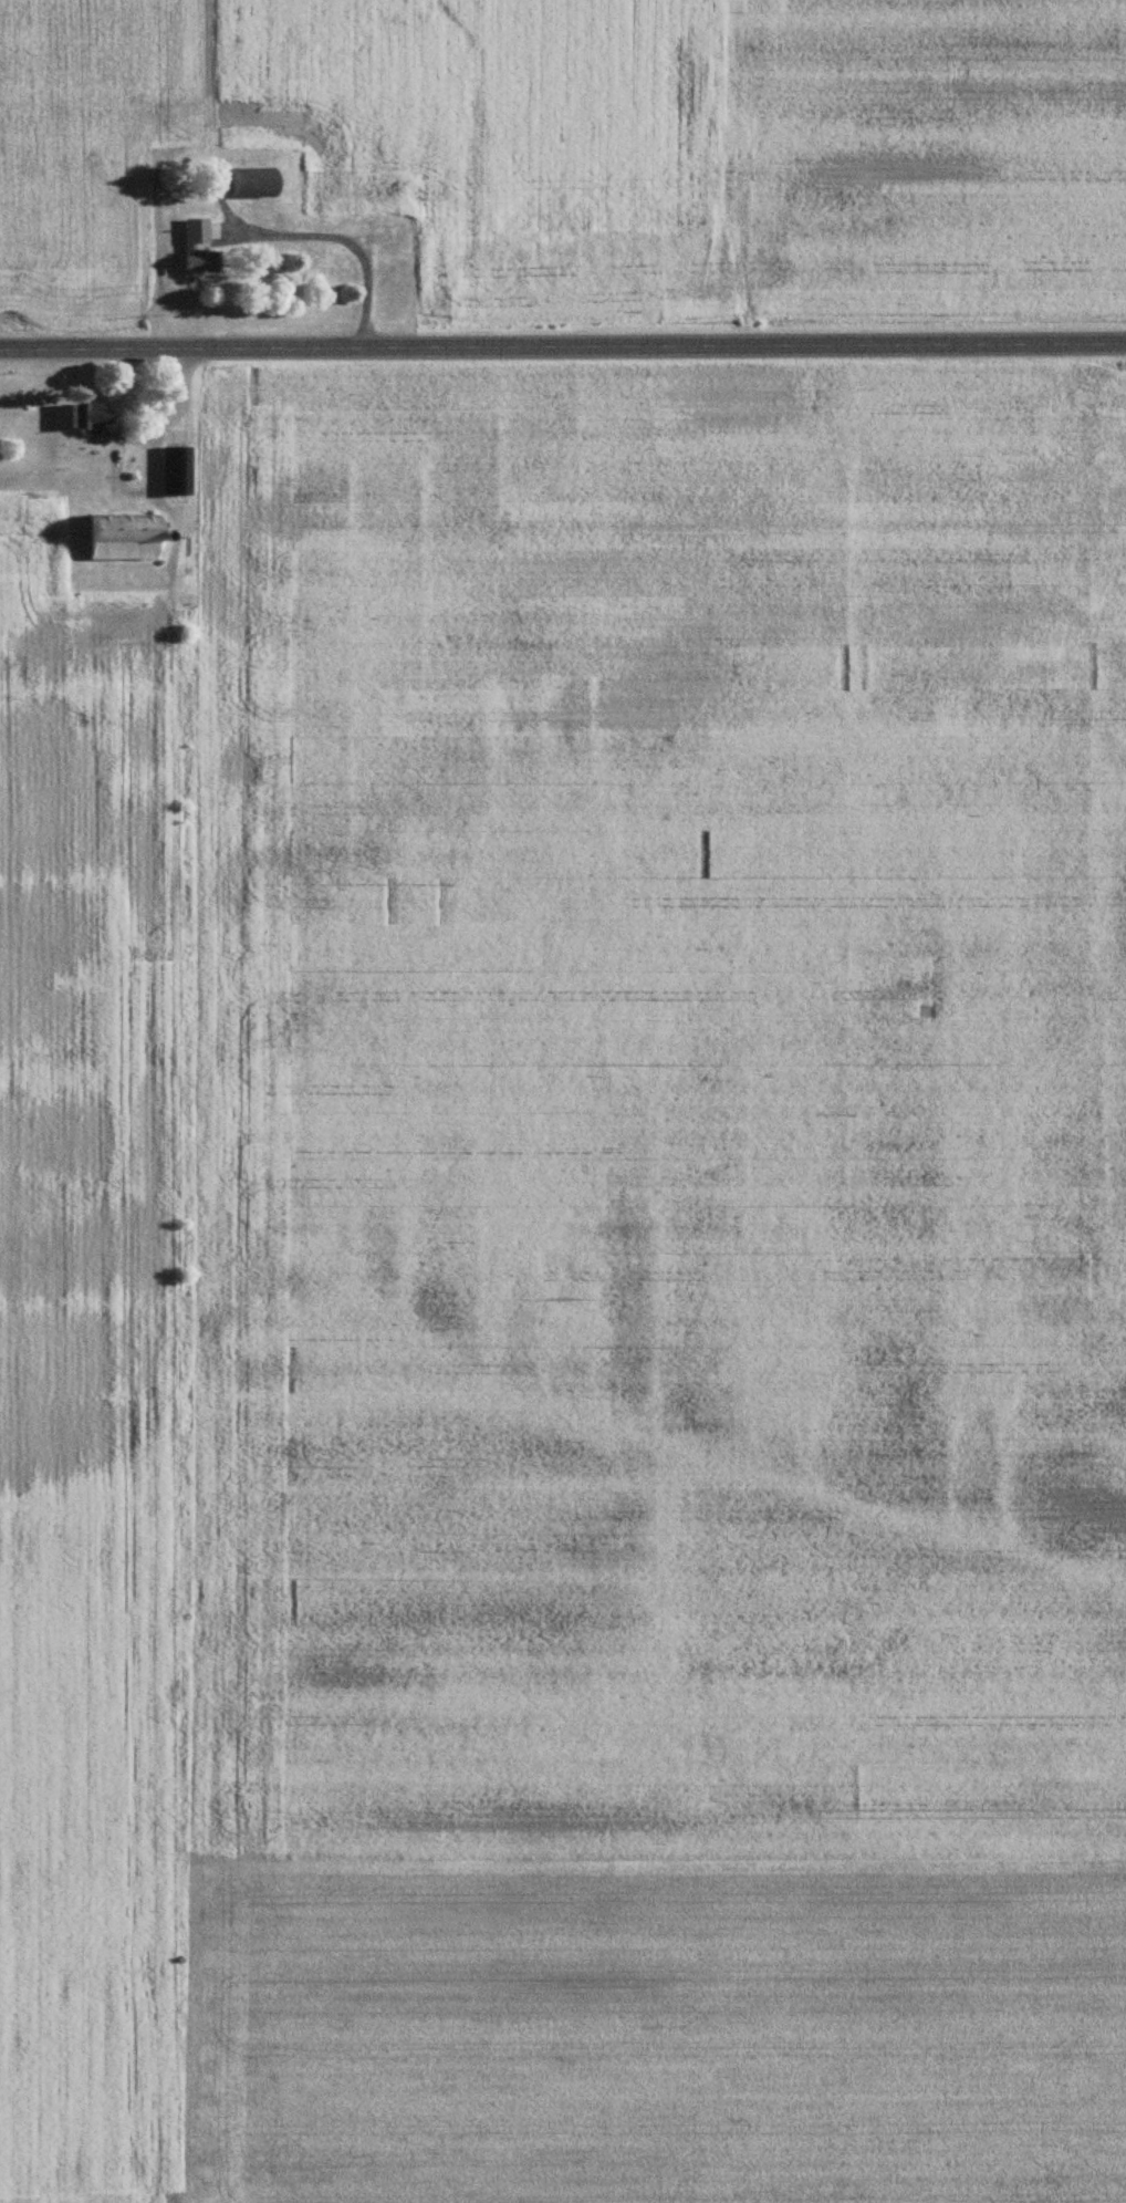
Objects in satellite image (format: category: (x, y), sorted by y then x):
building: (241, 183)
road: (344, 241)
building: (185, 247)
road: (562, 346)
building: (83, 416)
building: (116, 537)

